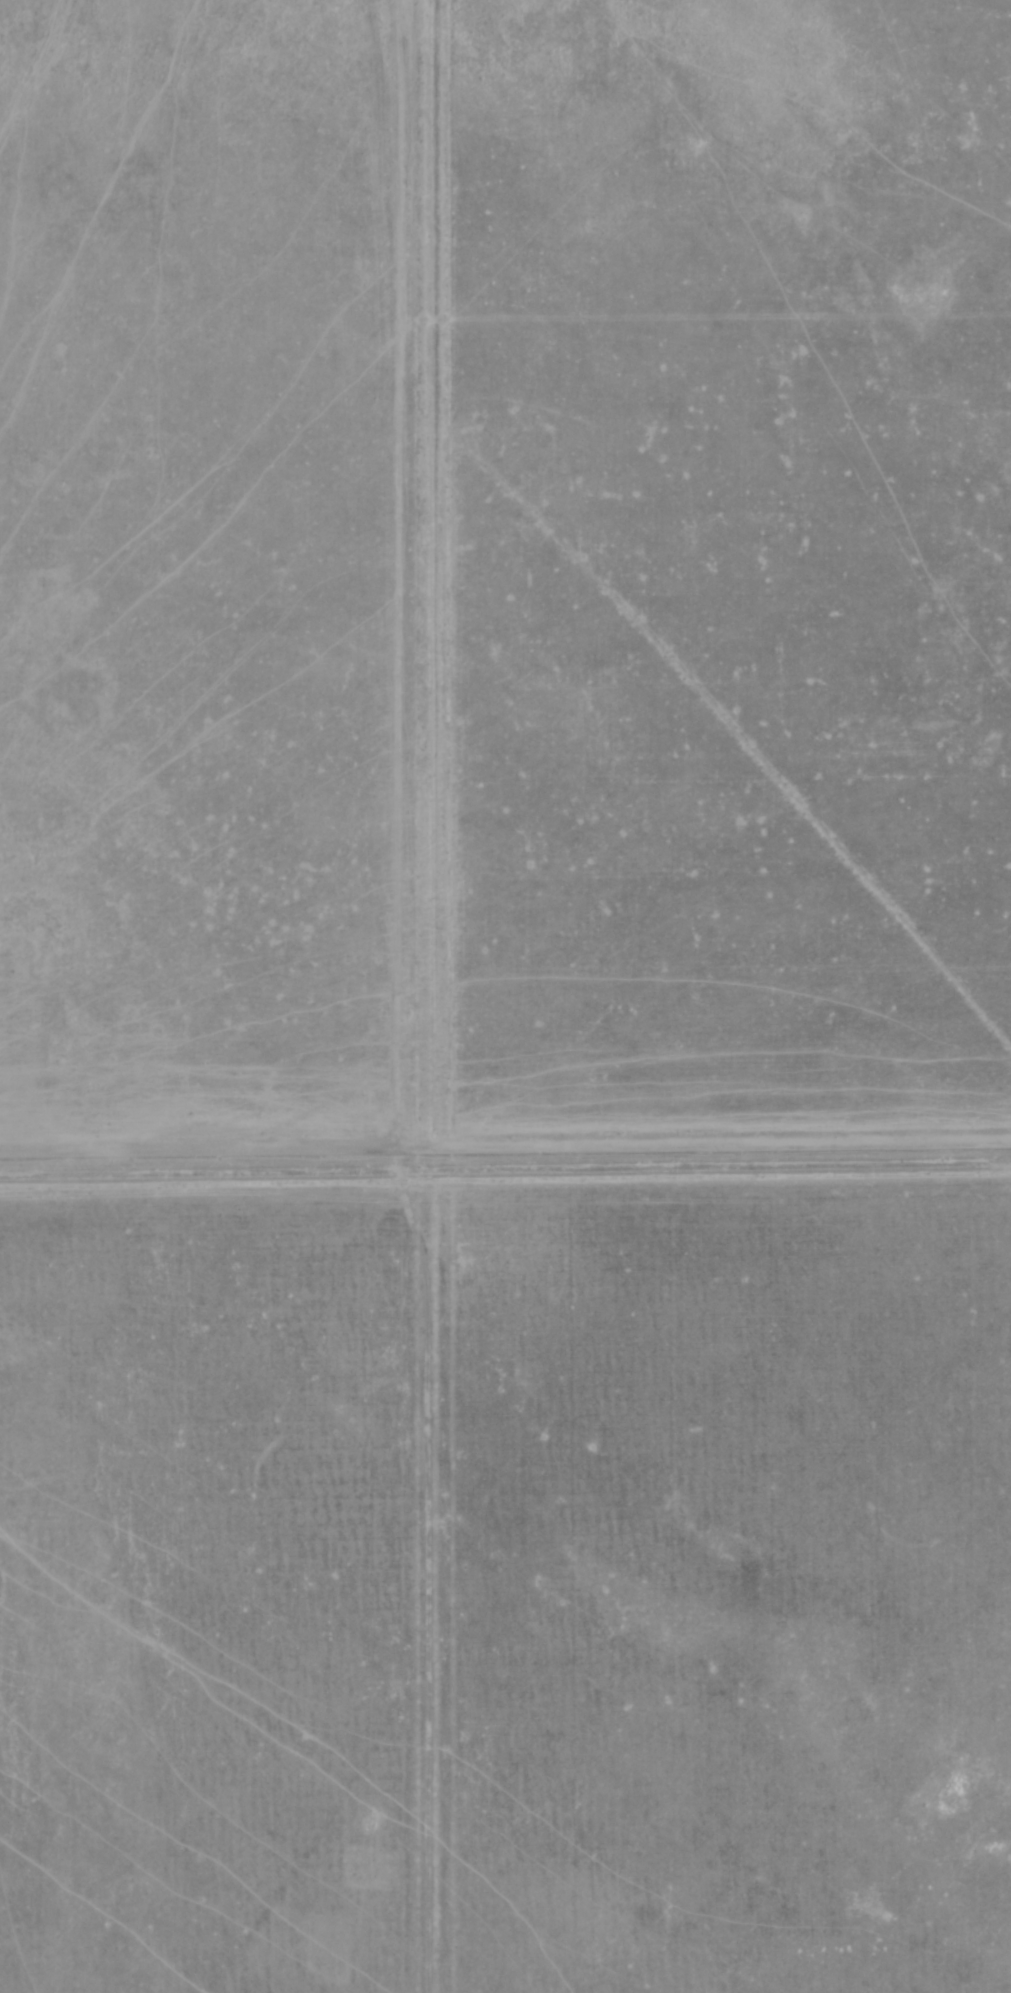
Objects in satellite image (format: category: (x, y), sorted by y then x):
crop: (505, 1577)

